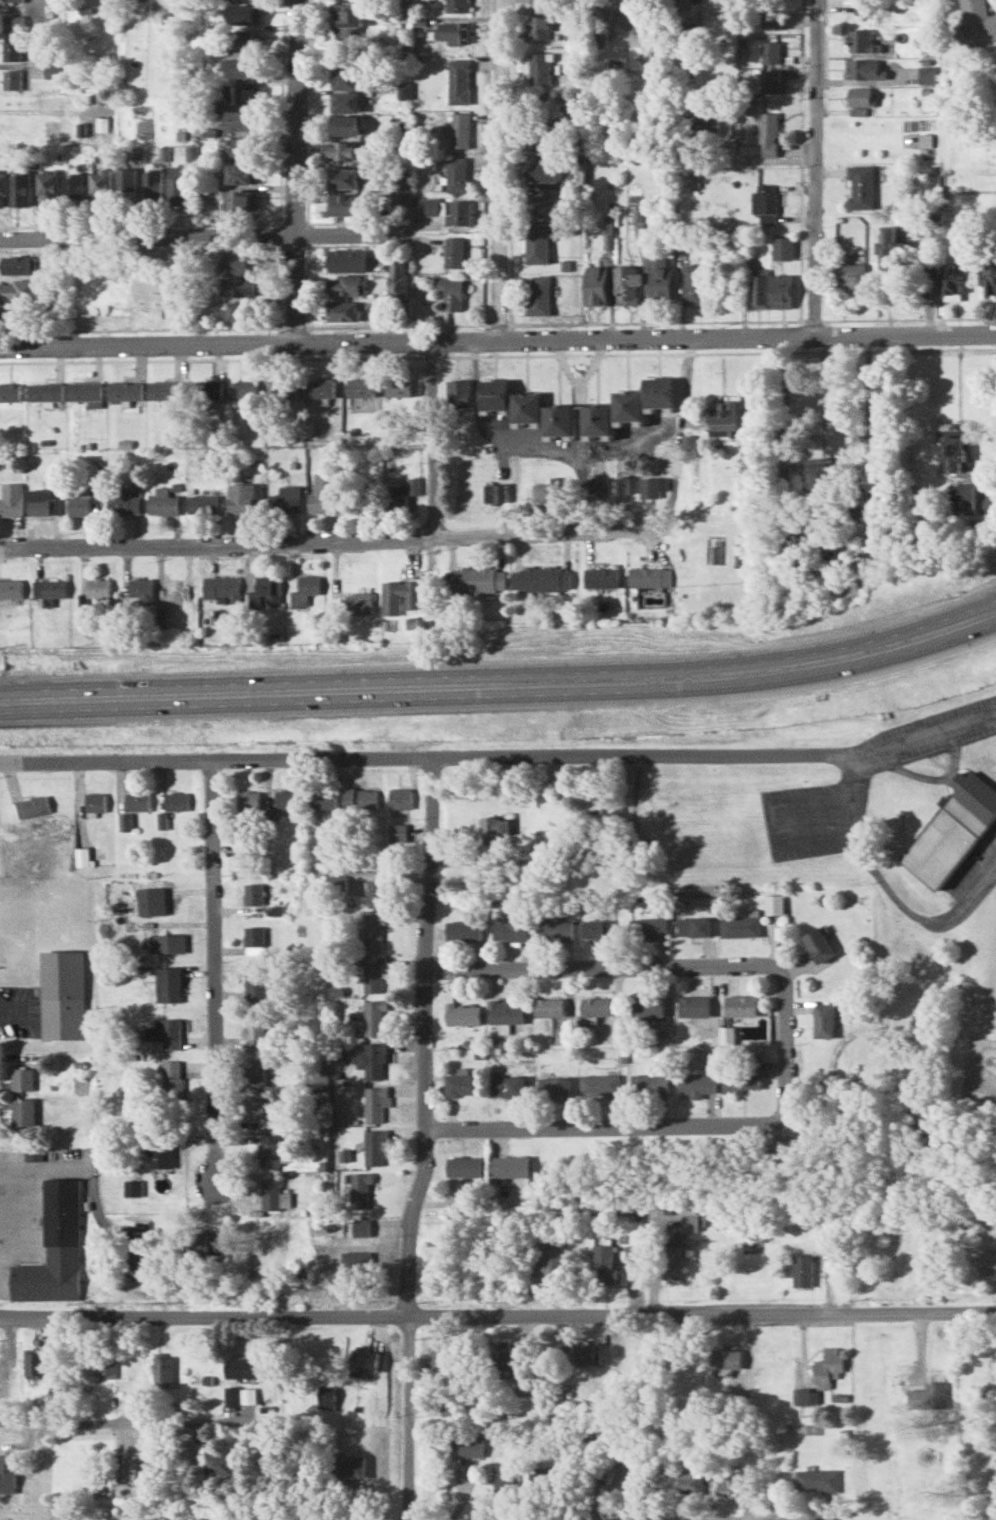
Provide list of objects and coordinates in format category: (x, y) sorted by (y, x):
building: (13, 1)
building: (540, 1)
building: (457, 5)
building: (862, 6)
building: (243, 13)
building: (346, 15)
building: (976, 18)
building: (770, 19)
building: (13, 24)
building: (538, 26)
building: (452, 32)
building: (658, 34)
building: (686, 37)
building: (241, 39)
building: (860, 41)
building: (12, 51)
building: (770, 52)
building: (242, 66)
building: (539, 68)
building: (864, 69)
building: (926, 74)
building: (345, 78)
building: (13, 79)
building: (458, 80)
building: (770, 81)
building: (404, 90)
building: (243, 93)
building: (859, 96)
building: (345, 102)
building: (240, 120)
building: (345, 124)
building: (699, 125)
building: (458, 129)
building: (768, 134)
building: (542, 139)
building: (242, 146)
building: (345, 150)
building: (687, 155)
road: (502, 168)
road: (816, 168)
road: (299, 170)
building: (541, 172)
building: (242, 173)
building: (457, 174)
building: (345, 177)
building: (179, 186)
building: (3, 187)
building: (48, 187)
building: (102, 187)
building: (128, 187)
building: (154, 187)
building: (861, 187)
building: (21, 189)
building: (75, 189)
building: (400, 189)
building: (242, 199)
building: (343, 203)
building: (765, 203)
building: (542, 205)
building: (427, 206)
building: (458, 213)
road: (196, 231)
building: (537, 244)
building: (891, 248)
building: (454, 252)
building: (346, 260)
building: (241, 262)
building: (19, 264)
building: (850, 276)
building: (989, 278)
building: (660, 279)
building: (399, 280)
building: (952, 280)
building: (345, 284)
building: (627, 284)
building: (695, 284)
building: (239, 285)
building: (595, 286)
building: (18, 289)
building: (772, 291)
building: (451, 292)
building: (538, 295)
building: (241, 310)
building: (342, 310)
building: (18, 312)
road: (497, 337)
building: (360, 387)
building: (398, 387)
building: (205, 389)
building: (243, 389)
building: (282, 389)
building: (46, 390)
building: (125, 390)
building: (165, 390)
building: (320, 390)
building: (10, 391)
building: (657, 391)
building: (87, 392)
building: (458, 392)
building: (493, 393)
building: (626, 405)
building: (525, 407)
building: (725, 415)
building: (595, 419)
building: (558, 420)
road: (431, 439)
road: (881, 440)
building: (689, 442)
road: (593, 453)
building: (953, 453)
building: (821, 479)
building: (621, 485)
building: (599, 486)
building: (656, 487)
building: (495, 492)
building: (323, 493)
building: (544, 493)
building: (398, 495)
building: (11, 499)
building: (240, 499)
building: (359, 499)
building: (964, 499)
building: (284, 500)
building: (45, 502)
building: (125, 502)
building: (163, 502)
building: (80, 504)
building: (203, 504)
road: (604, 532)
road: (216, 543)
building: (789, 552)
building: (649, 577)
building: (599, 578)
building: (540, 579)
building: (474, 580)
building: (308, 585)
building: (99, 588)
building: (141, 588)
building: (221, 588)
building: (11, 589)
building: (51, 589)
building: (266, 590)
building: (174, 592)
building: (399, 597)
building: (359, 603)
road: (502, 673)
road: (502, 694)
road: (925, 731)
road: (427, 761)
building: (400, 798)
building: (287, 799)
building: (323, 799)
building: (361, 799)
building: (250, 800)
building: (138, 801)
building: (177, 801)
building: (95, 802)
building: (33, 806)
building: (125, 822)
building: (496, 829)
building: (951, 830)
building: (398, 834)
building: (632, 841)
building: (254, 848)
road: (324, 853)
building: (82, 857)
road: (893, 881)
building: (337, 884)
building: (254, 893)
building: (377, 893)
building: (153, 902)
building: (773, 905)
building: (511, 926)
building: (739, 926)
building: (692, 927)
building: (595, 928)
building: (648, 928)
building: (374, 929)
building: (463, 931)
building: (556, 931)
building: (254, 937)
building: (169, 943)
building: (818, 945)
road: (609, 965)
road: (216, 971)
building: (373, 974)
building: (255, 983)
building: (169, 984)
building: (62, 994)
building: (595, 1006)
building: (647, 1006)
building: (694, 1006)
building: (740, 1006)
building: (549, 1007)
building: (505, 1012)
building: (462, 1014)
building: (373, 1017)
building: (824, 1021)
building: (254, 1030)
building: (166, 1033)
road: (787, 1050)
building: (371, 1061)
building: (254, 1071)
building: (740, 1078)
building: (22, 1079)
building: (172, 1082)
building: (647, 1083)
building: (601, 1084)
building: (696, 1084)
building: (462, 1085)
building: (506, 1086)
building: (553, 1087)
building: (375, 1103)
building: (259, 1109)
building: (23, 1112)
road: (605, 1124)
road: (426, 1141)
building: (374, 1147)
building: (270, 1150)
building: (32, 1152)
building: (160, 1154)
building: (508, 1166)
building: (464, 1167)
building: (132, 1188)
building: (359, 1191)
building: (274, 1196)
building: (990, 1215)
building: (360, 1229)
building: (210, 1242)
building: (676, 1247)
building: (54, 1248)
building: (632, 1254)
building: (548, 1260)
building: (137, 1264)
building: (356, 1264)
building: (602, 1264)
building: (988, 1267)
building: (803, 1271)
road: (497, 1313)
building: (586, 1354)
building: (499, 1357)
building: (726, 1359)
building: (441, 1361)
building: (362, 1362)
building: (35, 1364)
building: (107, 1365)
building: (828, 1365)
building: (241, 1367)
building: (163, 1370)
building: (521, 1387)
building: (935, 1395)
building: (231, 1396)
building: (247, 1396)
building: (805, 1396)
building: (325, 1397)
road: (122, 1423)
building: (465, 1447)
building: (216, 1463)
building: (347, 1467)
building: (130, 1470)
building: (586, 1472)
building: (7, 1473)
building: (685, 1474)
building: (502, 1478)
building: (818, 1481)
building: (551, 1484)
building: (726, 1485)
road: (640, 1518)
road: (805, 1519)

